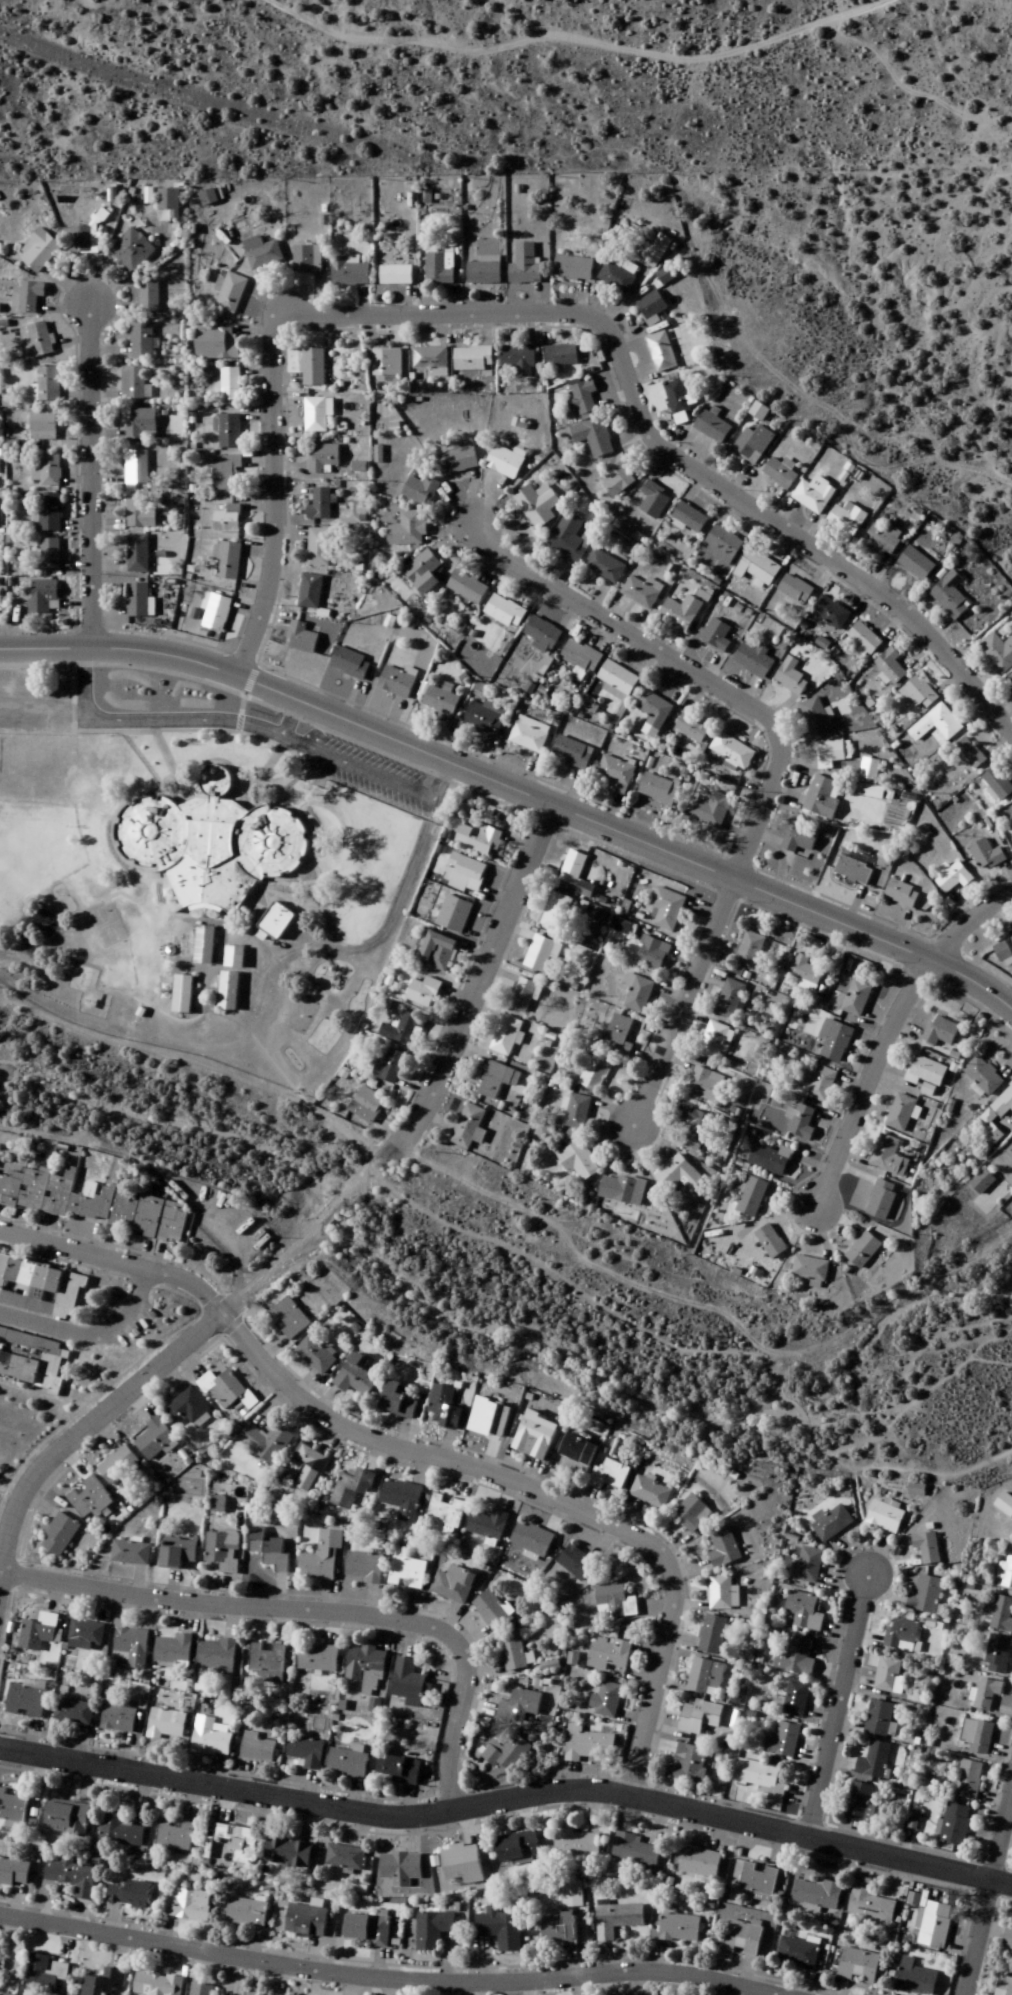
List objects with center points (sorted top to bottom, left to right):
road: (577, 43)
building: (169, 202)
building: (83, 239)
building: (39, 251)
building: (131, 251)
building: (262, 253)
building: (656, 253)
building: (307, 260)
building: (524, 266)
building: (438, 269)
building: (572, 269)
building: (483, 272)
building: (348, 273)
building: (394, 276)
building: (616, 278)
building: (231, 294)
building: (148, 296)
building: (27, 298)
building: (650, 307)
building: (39, 341)
building: (141, 341)
building: (216, 344)
building: (660, 353)
building: (560, 356)
building: (430, 360)
building: (472, 360)
building: (517, 360)
building: (386, 365)
building: (313, 367)
building: (46, 384)
building: (134, 384)
building: (229, 385)
building: (582, 398)
building: (676, 398)
building: (315, 415)
building: (140, 424)
building: (42, 426)
building: (711, 427)
building: (229, 431)
road: (647, 433)
building: (593, 437)
building: (753, 444)
building: (322, 458)
building: (458, 459)
building: (504, 462)
building: (135, 468)
building: (46, 470)
building: (224, 473)
building: (778, 474)
road: (89, 476)
building: (617, 476)
building: (419, 491)
building: (813, 495)
building: (654, 500)
building: (319, 505)
building: (537, 505)
building: (48, 512)
building: (138, 512)
road: (272, 512)
building: (688, 517)
building: (847, 519)
building: (227, 520)
building: (408, 530)
building: (568, 538)
building: (882, 540)
building: (722, 545)
building: (318, 548)
building: (137, 553)
building: (49, 555)
building: (227, 560)
building: (918, 562)
building: (604, 566)
building: (756, 567)
building: (422, 572)
building: (466, 587)
building: (794, 589)
building: (309, 592)
building: (640, 593)
building: (950, 596)
building: (43, 597)
building: (136, 600)
building: (504, 612)
building: (216, 613)
building: (680, 613)
building: (830, 613)
building: (540, 634)
building: (716, 636)
building: (300, 638)
building: (864, 639)
road: (11, 650)
building: (998, 653)
building: (580, 658)
building: (754, 660)
building: (349, 663)
building: (890, 666)
road: (688, 667)
building: (790, 677)
building: (618, 678)
building: (396, 682)
building: (918, 693)
building: (439, 701)
building: (654, 710)
building: (814, 716)
building: (484, 717)
road: (230, 718)
building: (936, 726)
building: (693, 728)
building: (529, 734)
building: (732, 751)
building: (831, 751)
building: (571, 753)
building: (968, 754)
parking lot: (365, 768)
building: (869, 769)
building: (616, 774)
road: (435, 778)
building: (998, 784)
building: (658, 789)
road: (527, 794)
building: (822, 798)
building: (710, 809)
building: (1011, 810)
building: (478, 839)
building: (799, 839)
building: (204, 841)
building: (985, 856)
building: (853, 867)
building: (573, 868)
building: (463, 874)
building: (953, 878)
building: (901, 894)
building: (667, 909)
building: (555, 913)
building: (458, 916)
road: (965, 919)
building: (275, 921)
park: (107, 928)
building: (1009, 938)
building: (202, 945)
building: (749, 950)
building: (437, 952)
building: (541, 954)
building: (652, 954)
building: (232, 957)
building: (805, 974)
road: (473, 987)
building: (227, 990)
building: (181, 994)
building: (421, 994)
building: (521, 995)
building: (639, 995)
building: (854, 999)
building: (730, 1002)
road: (682, 1005)
building: (403, 1030)
building: (939, 1032)
building: (618, 1035)
building: (506, 1036)
building: (834, 1040)
building: (715, 1043)
building: (390, 1067)
building: (596, 1072)
building: (927, 1075)
building: (983, 1076)
road: (863, 1077)
building: (496, 1081)
building: (819, 1083)
building: (705, 1085)
building: (367, 1105)
building: (577, 1112)
building: (901, 1113)
building: (995, 1117)
building: (802, 1123)
building: (696, 1124)
building: (469, 1128)
building: (888, 1157)
building: (771, 1159)
building: (578, 1161)
building: (678, 1175)
building: (982, 1182)
building: (617, 1190)
building: (751, 1198)
building: (881, 1200)
building: (94, 1204)
road: (301, 1239)
building: (770, 1242)
building: (862, 1251)
road: (533, 1263)
building: (810, 1271)
building: (40, 1288)
building: (288, 1319)
road: (93, 1341)
building: (316, 1356)
building: (32, 1360)
building: (355, 1377)
building: (228, 1392)
building: (397, 1402)
building: (185, 1409)
building: (443, 1409)
building: (490, 1420)
road: (86, 1422)
building: (534, 1437)
building: (154, 1442)
building: (266, 1442)
building: (576, 1450)
road: (428, 1455)
building: (311, 1458)
building: (116, 1467)
building: (609, 1475)
building: (283, 1478)
building: (351, 1487)
building: (916, 1490)
building: (649, 1493)
building: (402, 1499)
building: (89, 1500)
road: (852, 1504)
building: (1004, 1505)
building: (692, 1514)
building: (444, 1515)
building: (884, 1517)
building: (832, 1524)
building: (487, 1525)
building: (58, 1536)
building: (532, 1539)
building: (1011, 1540)
building: (723, 1548)
building: (927, 1548)
building: (268, 1550)
building: (223, 1551)
building: (176, 1553)
building: (130, 1554)
building: (321, 1558)
building: (575, 1563)
building: (809, 1566)
building: (363, 1568)
building: (407, 1573)
building: (1005, 1574)
building: (453, 1585)
building: (723, 1593)
building: (927, 1595)
building: (614, 1602)
road: (311, 1611)
building: (494, 1611)
building: (804, 1612)
building: (38, 1633)
building: (85, 1635)
building: (711, 1635)
building: (901, 1635)
building: (130, 1649)
building: (173, 1651)
building: (513, 1654)
building: (609, 1655)
building: (217, 1656)
building: (266, 1657)
building: (798, 1657)
building: (317, 1658)
building: (365, 1667)
building: (889, 1676)
building: (705, 1678)
building: (409, 1683)
building: (986, 1694)
building: (795, 1699)
building: (608, 1700)
road: (832, 1700)
building: (25, 1701)
building: (519, 1705)
building: (72, 1712)
building: (699, 1718)
building: (879, 1718)
building: (118, 1719)
building: (166, 1725)
building: (211, 1737)
building: (977, 1737)
building: (783, 1741)
building: (587, 1744)
building: (257, 1749)
building: (306, 1752)
building: (506, 1754)
building: (874, 1761)
building: (348, 1763)
building: (688, 1764)
building: (399, 1769)
building: (757, 1775)
building: (968, 1780)
road: (508, 1793)
building: (859, 1804)
building: (12, 1806)
building: (66, 1819)
road: (1000, 1819)
building: (954, 1825)
building: (120, 1828)
building: (174, 1835)
building: (576, 1844)
building: (242, 1847)
building: (518, 1848)
building: (635, 1851)
building: (287, 1854)
building: (345, 1857)
building: (699, 1862)
building: (462, 1864)
building: (401, 1867)
building: (13, 1873)
building: (72, 1877)
building: (758, 1880)
building: (130, 1894)
building: (817, 1894)
building: (187, 1904)
building: (870, 1905)
building: (247, 1912)
building: (617, 1919)
building: (306, 1920)
building: (935, 1925)
building: (500, 1928)
building: (679, 1928)
building: (433, 1929)
building: (367, 1930)
building: (558, 1931)
road: (974, 1935)
building: (742, 1938)
building: (1008, 1938)
building: (798, 1953)
building: (1, 1954)
building: (858, 1966)
building: (44, 1974)
road: (387, 1977)
building: (915, 1979)
building: (104, 1983)
building: (157, 1984)
building: (1004, 1988)
building: (201, 1989)
building: (267, 1994)

